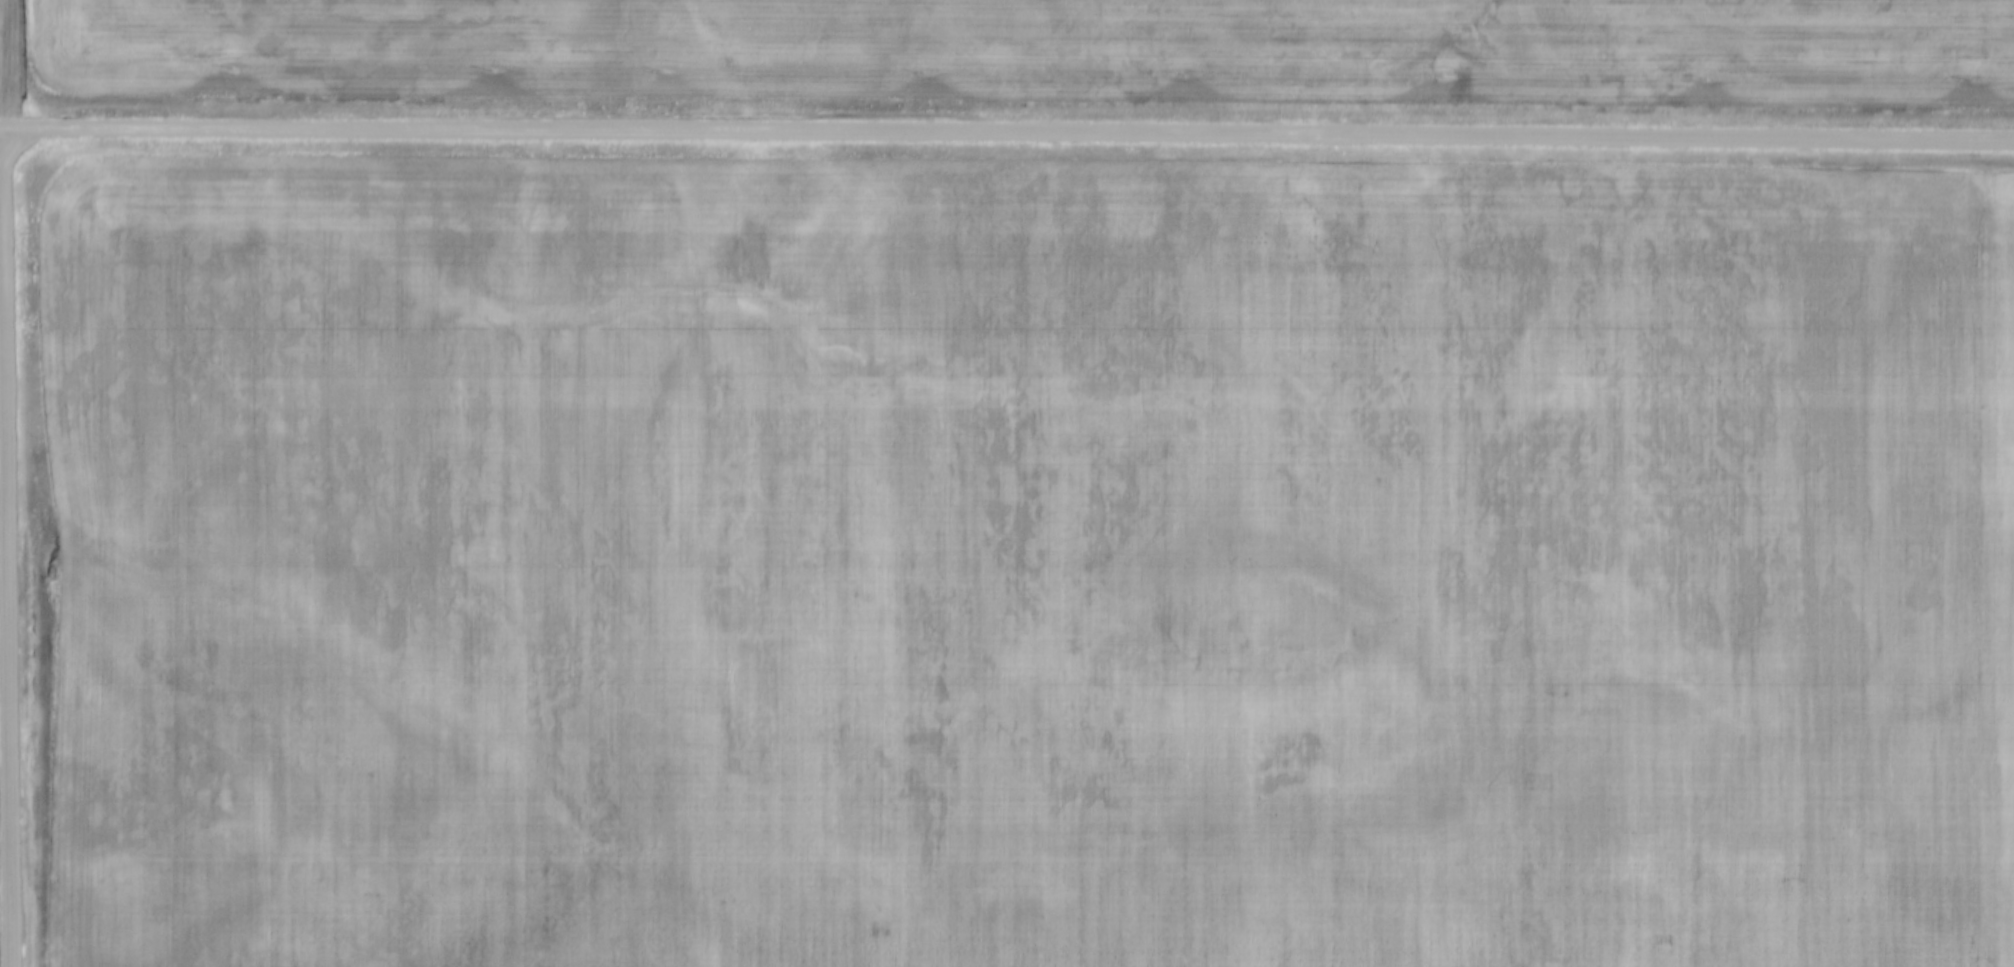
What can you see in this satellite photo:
road: (1007, 138)
road: (4, 550)

